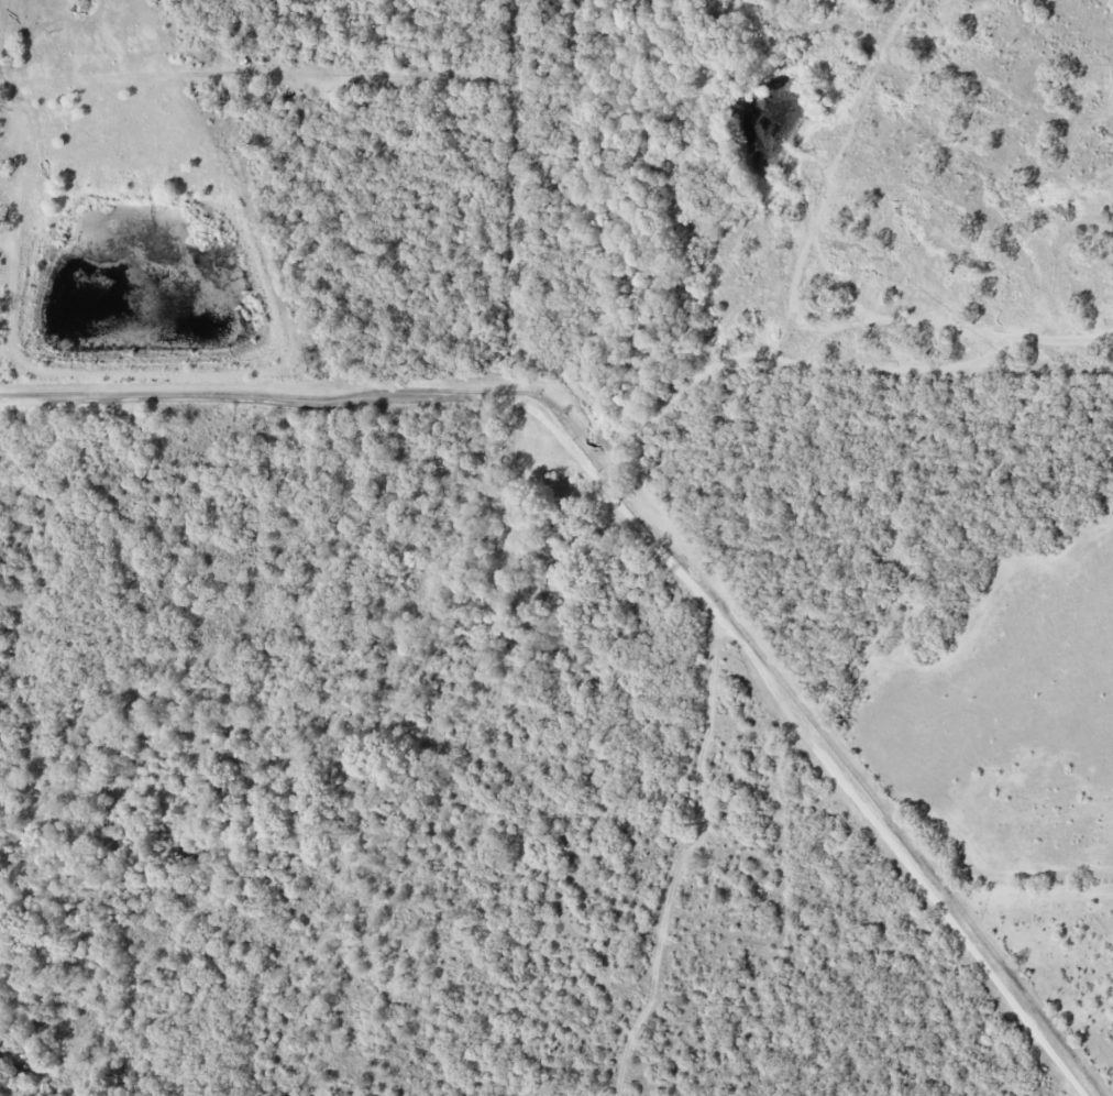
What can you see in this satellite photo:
road: (647, 538)
road: (686, 857)

